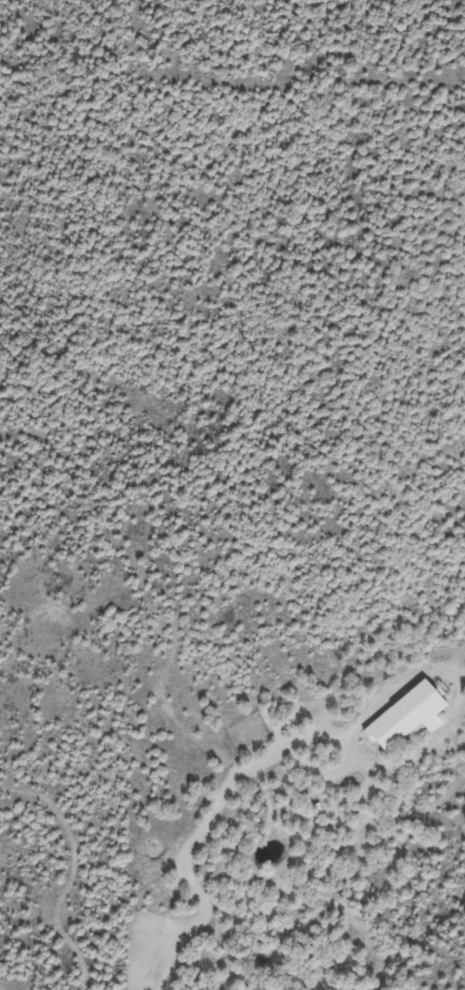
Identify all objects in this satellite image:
building: (407, 716)

